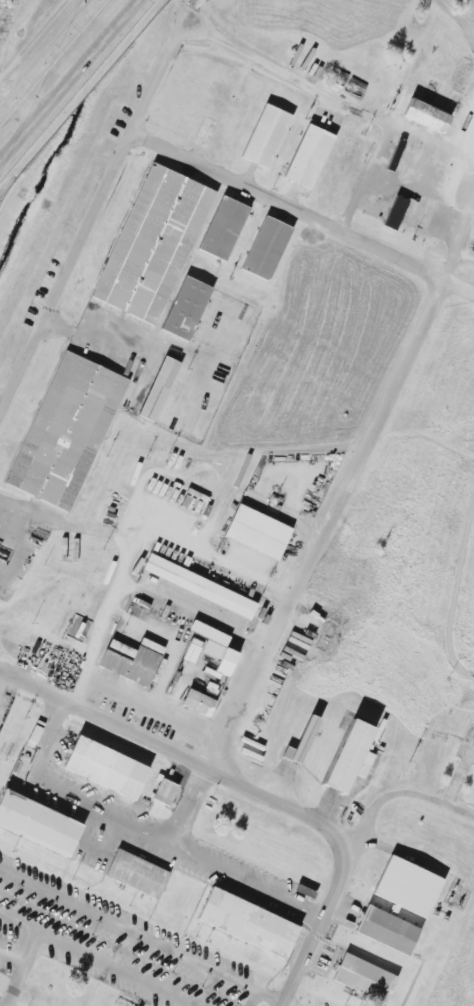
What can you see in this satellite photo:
road: (187, 11)
road: (35, 40)
road: (50, 58)
road: (71, 80)
road: (338, 100)
road: (26, 109)
building: (426, 116)
building: (266, 133)
road: (432, 145)
building: (306, 154)
road: (420, 191)
building: (395, 212)
road: (301, 216)
road: (91, 217)
building: (223, 225)
building: (150, 238)
road: (457, 243)
building: (264, 245)
building: (186, 308)
road: (121, 337)
building: (159, 389)
building: (61, 427)
road: (331, 527)
road: (68, 528)
building: (256, 530)
road: (142, 537)
road: (17, 546)
building: (195, 585)
road: (453, 594)
building: (216, 647)
building: (132, 661)
building: (198, 702)
road: (48, 737)
building: (301, 742)
building: (345, 754)
building: (103, 763)
road: (253, 790)
building: (164, 792)
road: (399, 793)
road: (186, 804)
road: (101, 809)
building: (36, 820)
building: (137, 874)
road: (246, 881)
building: (407, 884)
building: (243, 920)
road: (19, 922)
road: (126, 929)
building: (385, 929)
road: (34, 940)
parking lot: (112, 944)
road: (11, 961)
road: (115, 969)
building: (363, 975)
road: (16, 976)
road: (274, 997)
road: (251, 998)
parking lot: (319, 1002)

